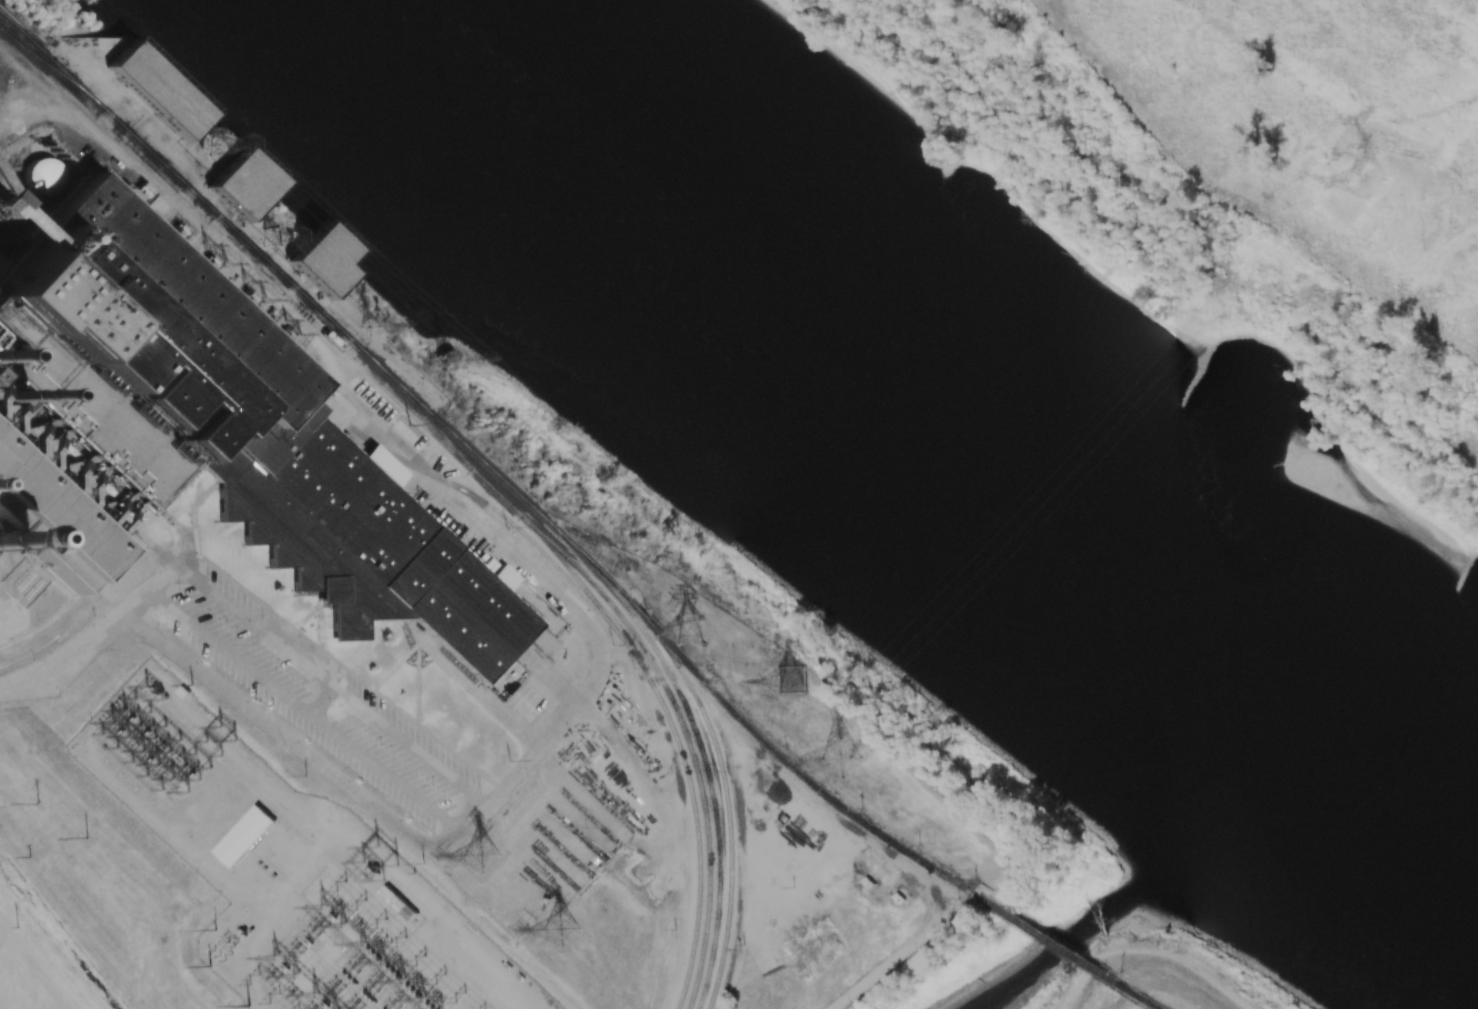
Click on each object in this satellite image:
railway: (36, 46)
building: (156, 90)
power tower: (220, 145)
railway: (160, 172)
building: (54, 176)
power tower: (1370, 183)
building: (242, 184)
power tower: (139, 193)
building: (0, 203)
power tower: (176, 232)
power tower: (268, 237)
railway: (225, 242)
building: (321, 260)
power tower: (208, 261)
railway: (280, 273)
power tower: (247, 296)
power tower: (371, 325)
power tower: (284, 332)
power tower: (452, 362)
chimney: (10, 398)
river: (933, 430)
building: (199, 441)
power plant: (199, 441)
power tower: (661, 556)
railway: (575, 577)
power tower: (691, 631)
railway: (619, 635)
road: (94, 637)
railway: (662, 644)
power tower: (794, 681)
road: (317, 719)
road: (385, 723)
power tower: (224, 739)
railway: (689, 747)
railway: (776, 751)
power tower: (840, 758)
railway: (703, 762)
building: (244, 835)
power tower: (86, 837)
power tower: (482, 857)
power tower: (390, 859)
power substation: (290, 870)
power tower: (16, 927)
power tower: (561, 927)
railway: (1046, 939)
road: (1150, 951)
railway: (1141, 997)

